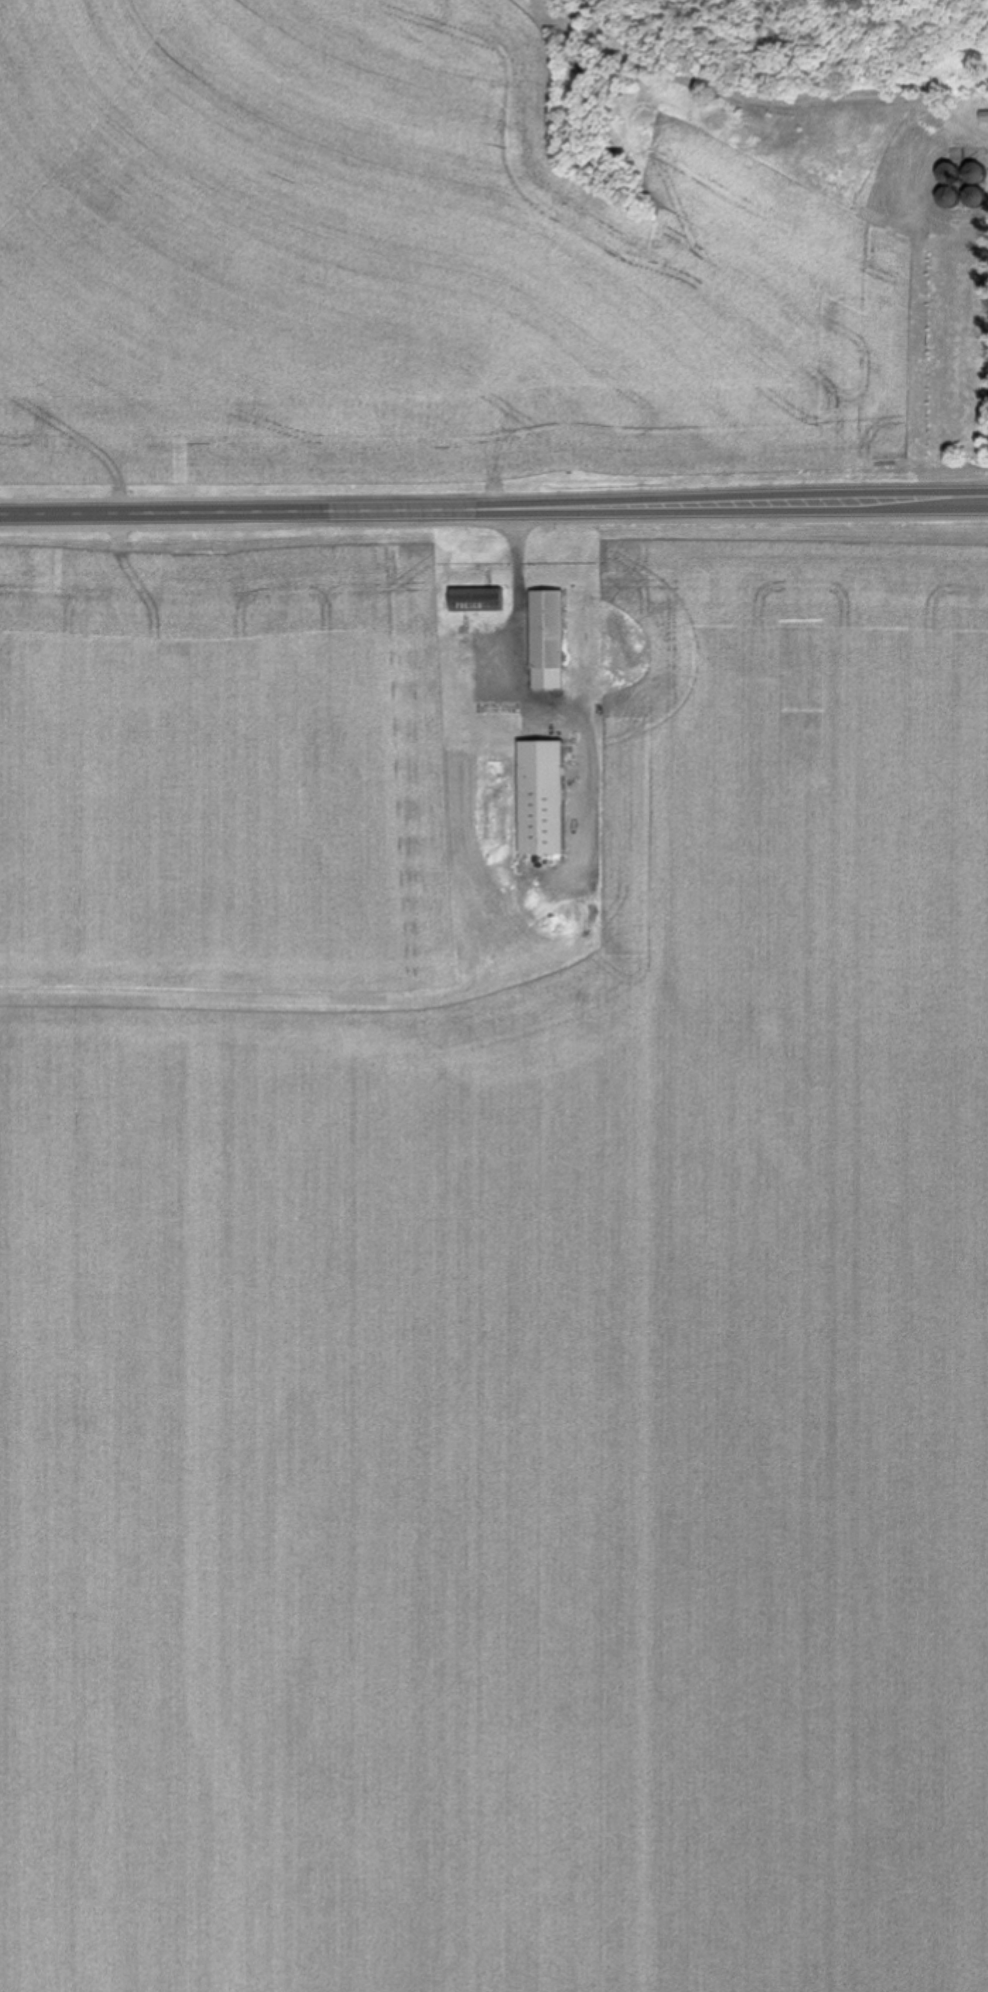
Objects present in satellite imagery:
building: (952, 174)
building: (979, 174)
building: (978, 197)
building: (953, 198)
road: (493, 514)
building: (478, 598)
building: (549, 638)
building: (545, 796)

